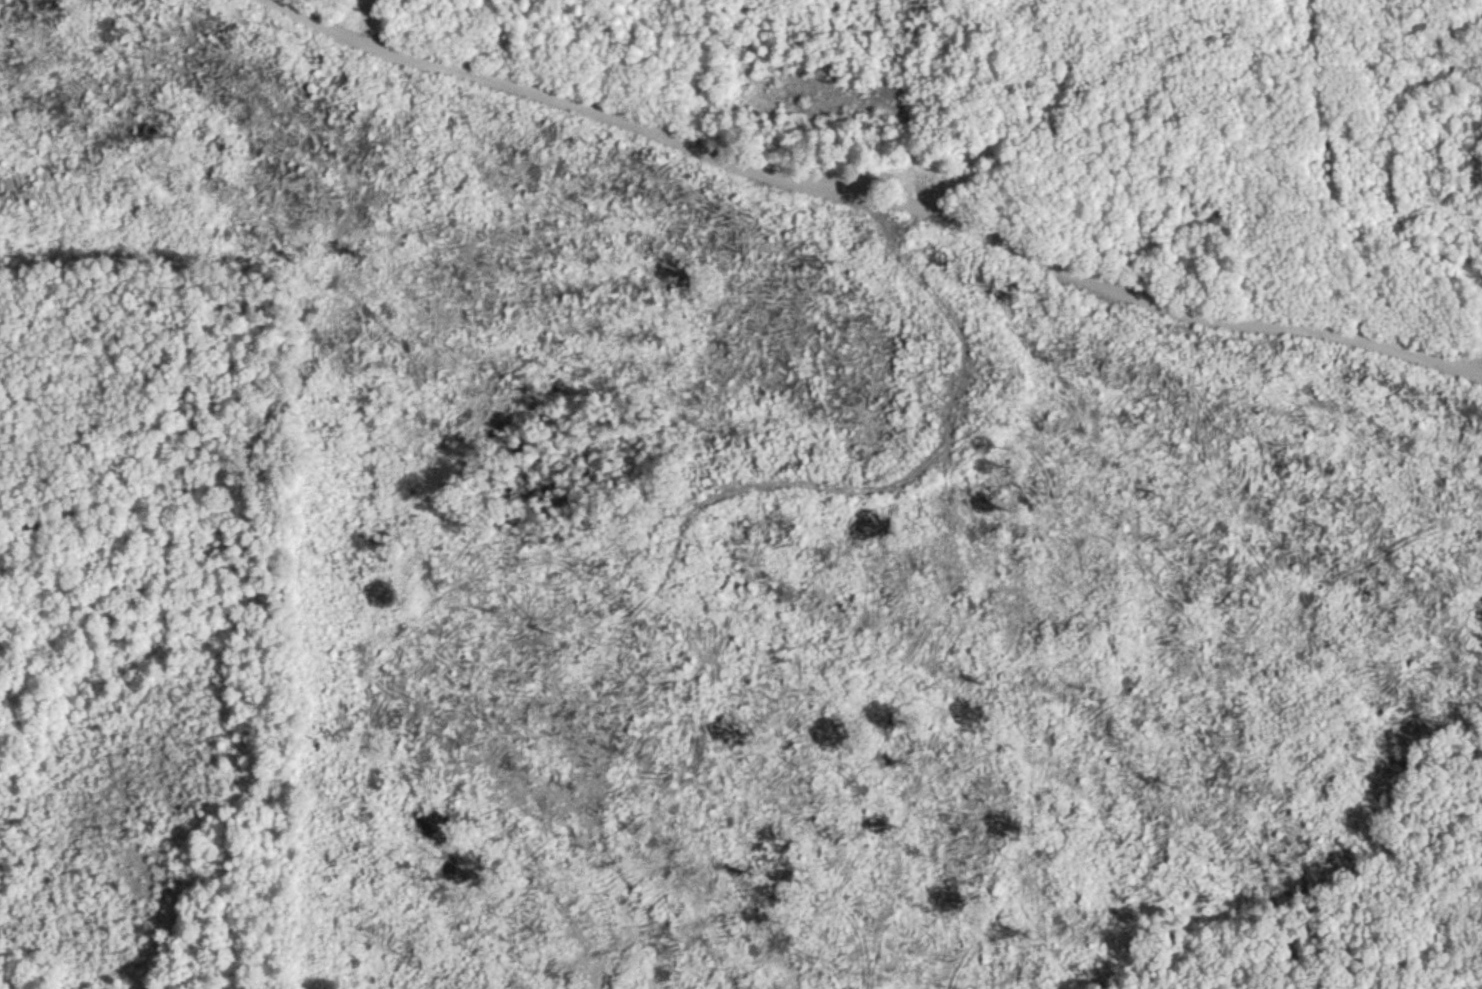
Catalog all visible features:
road: (881, 197)

